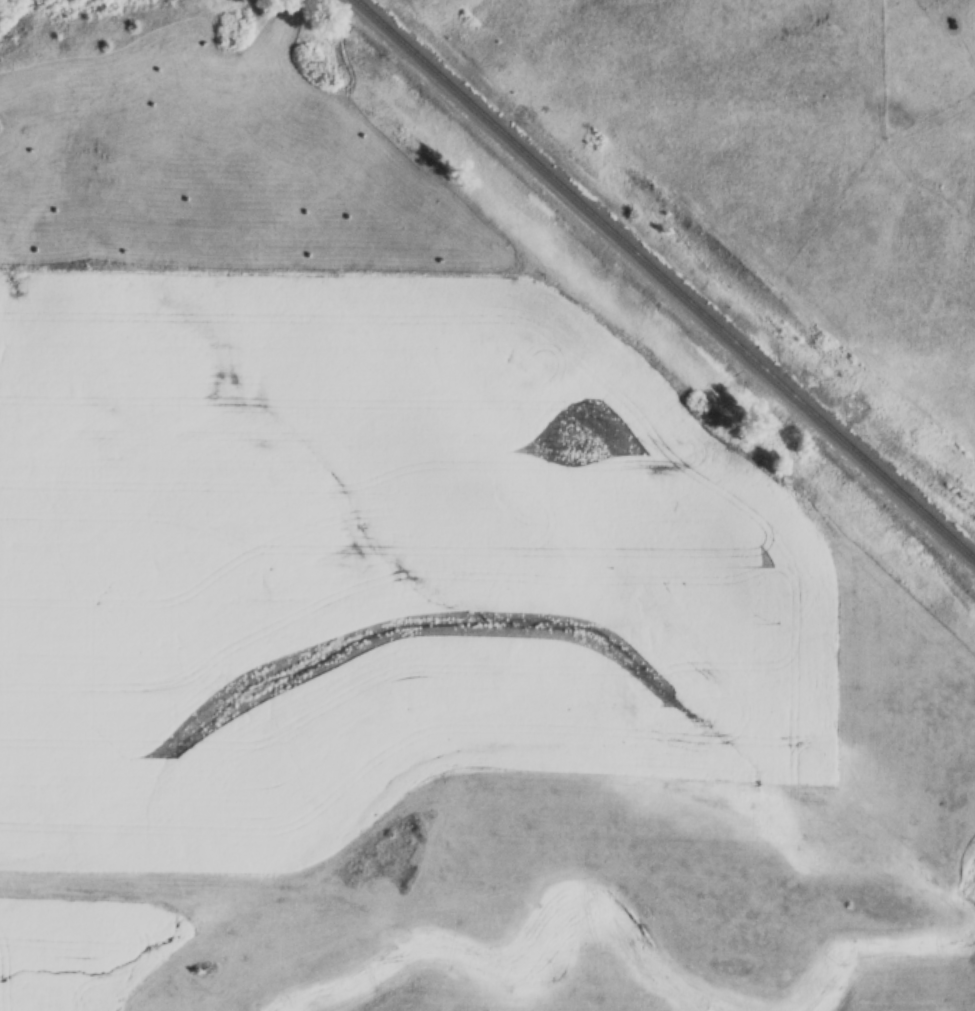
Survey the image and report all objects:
railway: (665, 279)

